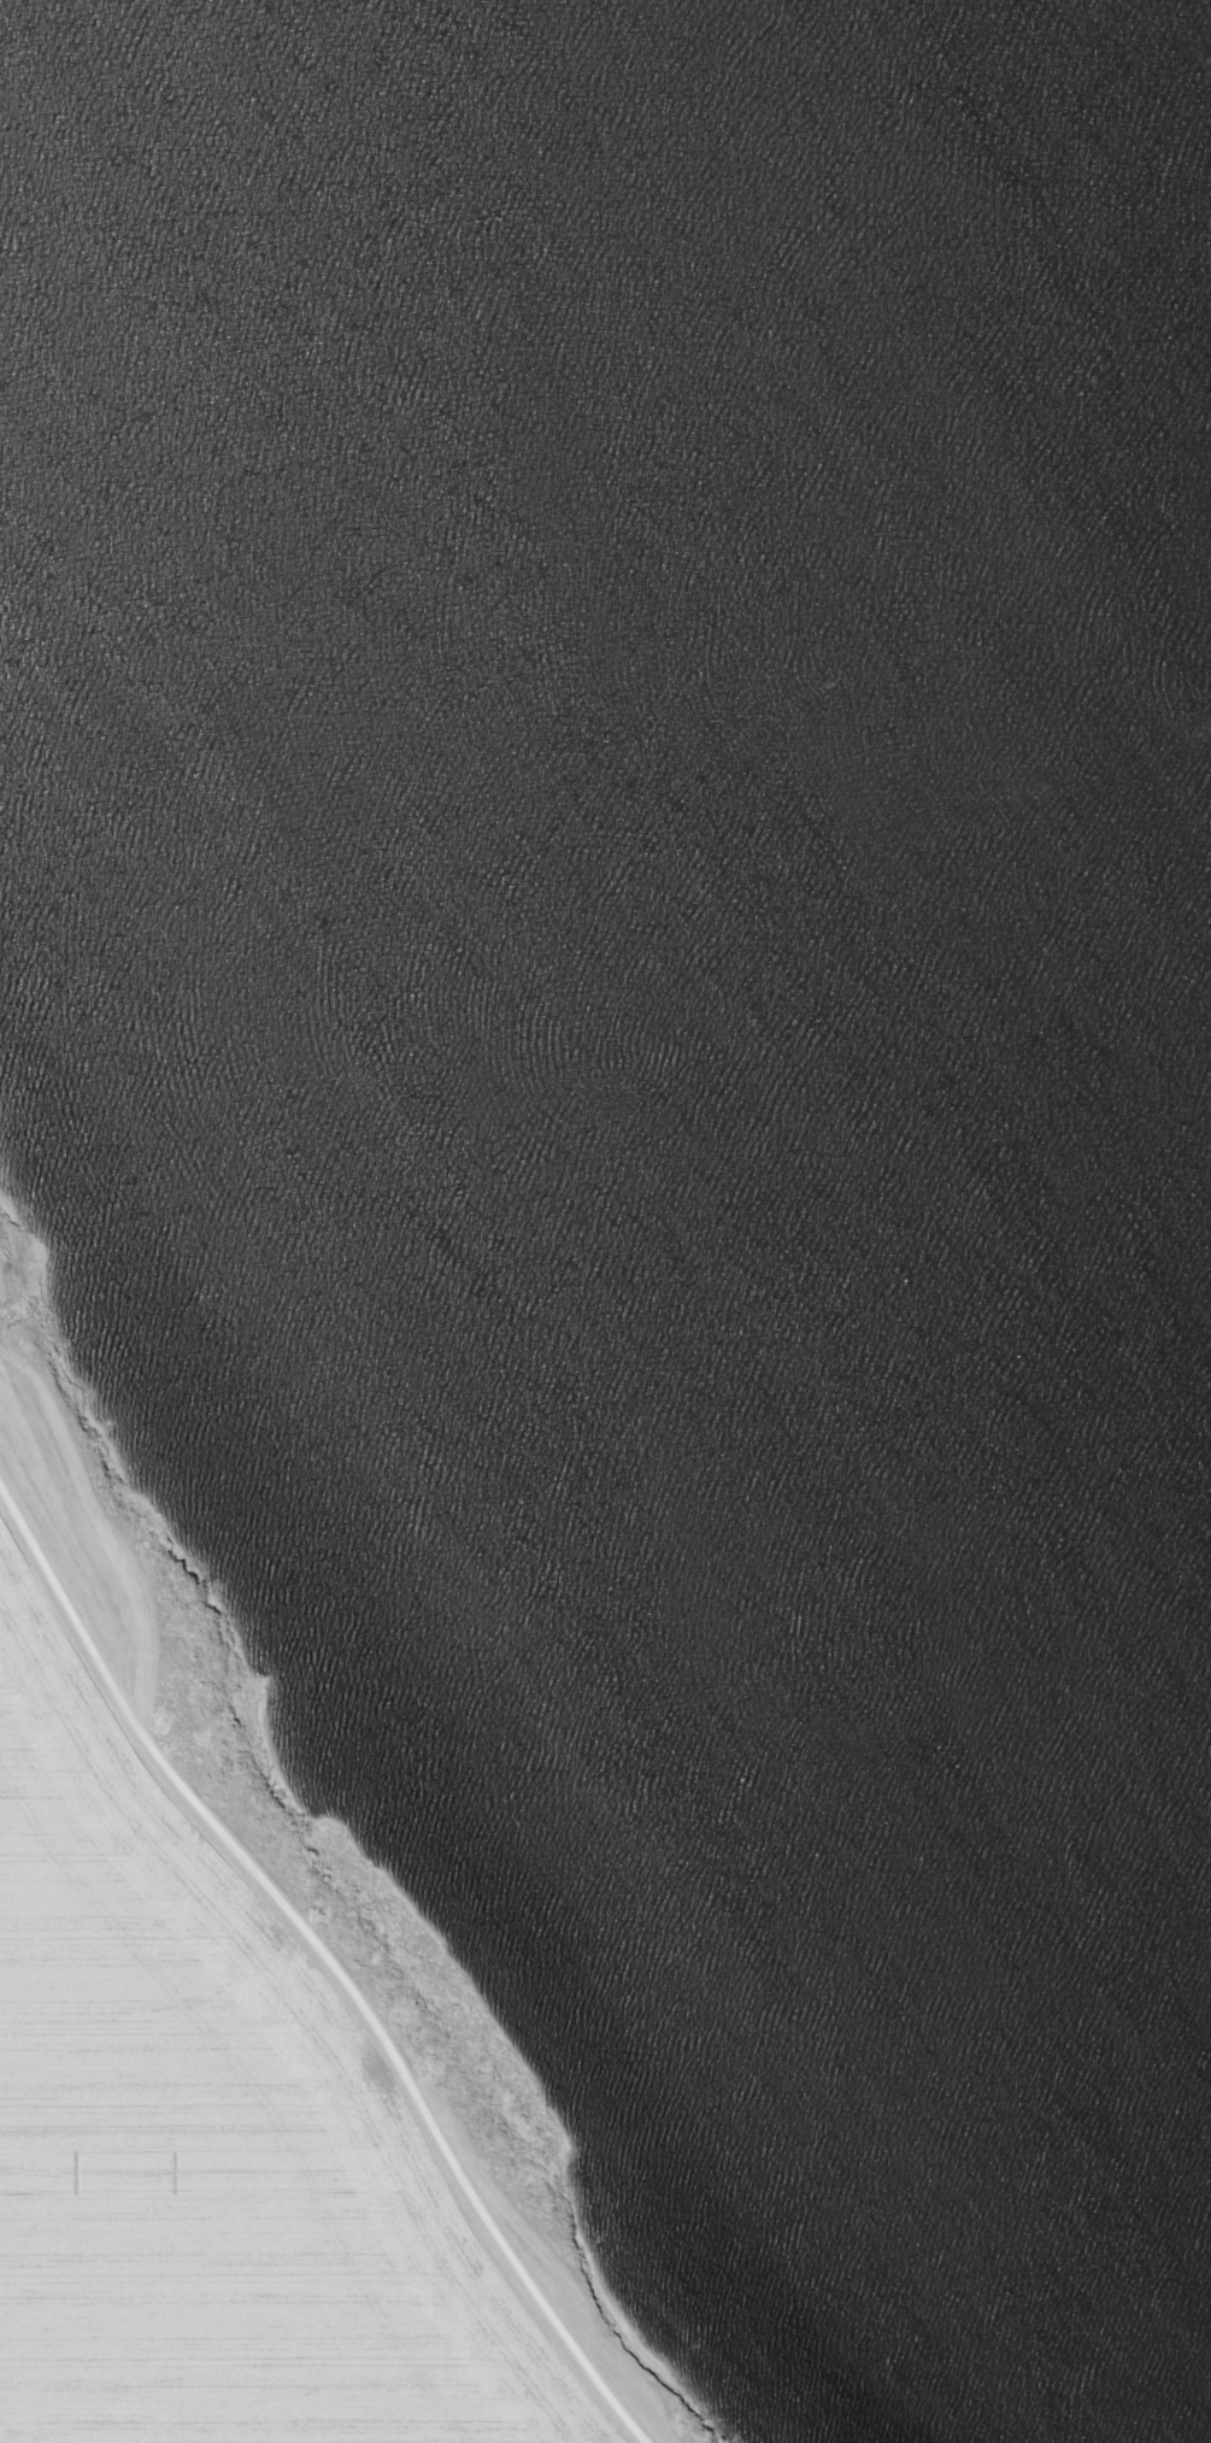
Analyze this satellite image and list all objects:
road: (329, 1962)

